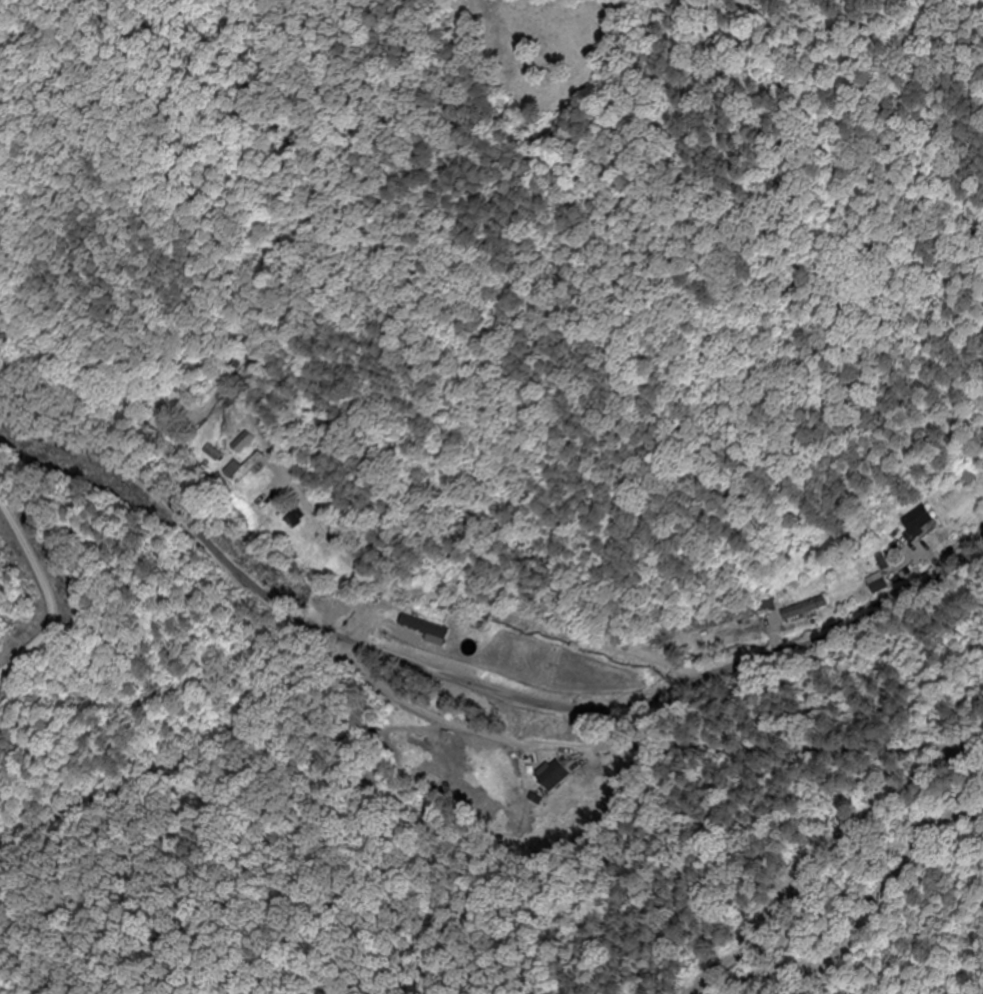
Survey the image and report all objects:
building: (919, 522)
road: (502, 554)
road: (54, 590)
building: (805, 609)
road: (473, 684)
building: (558, 778)

